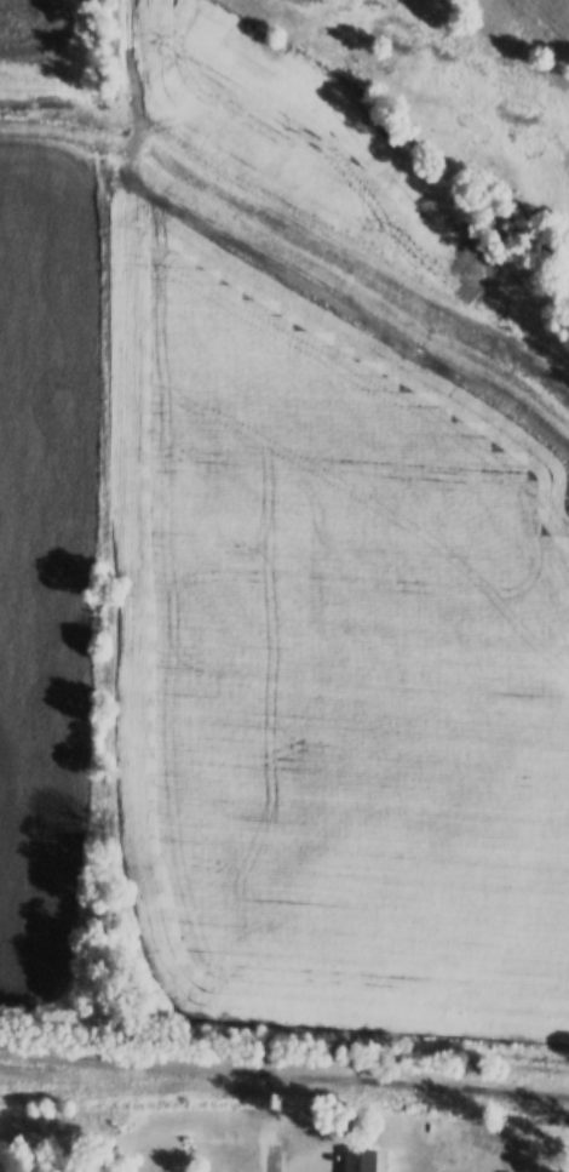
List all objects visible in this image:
road: (284, 1075)
building: (358, 1157)
road: (270, 1159)

